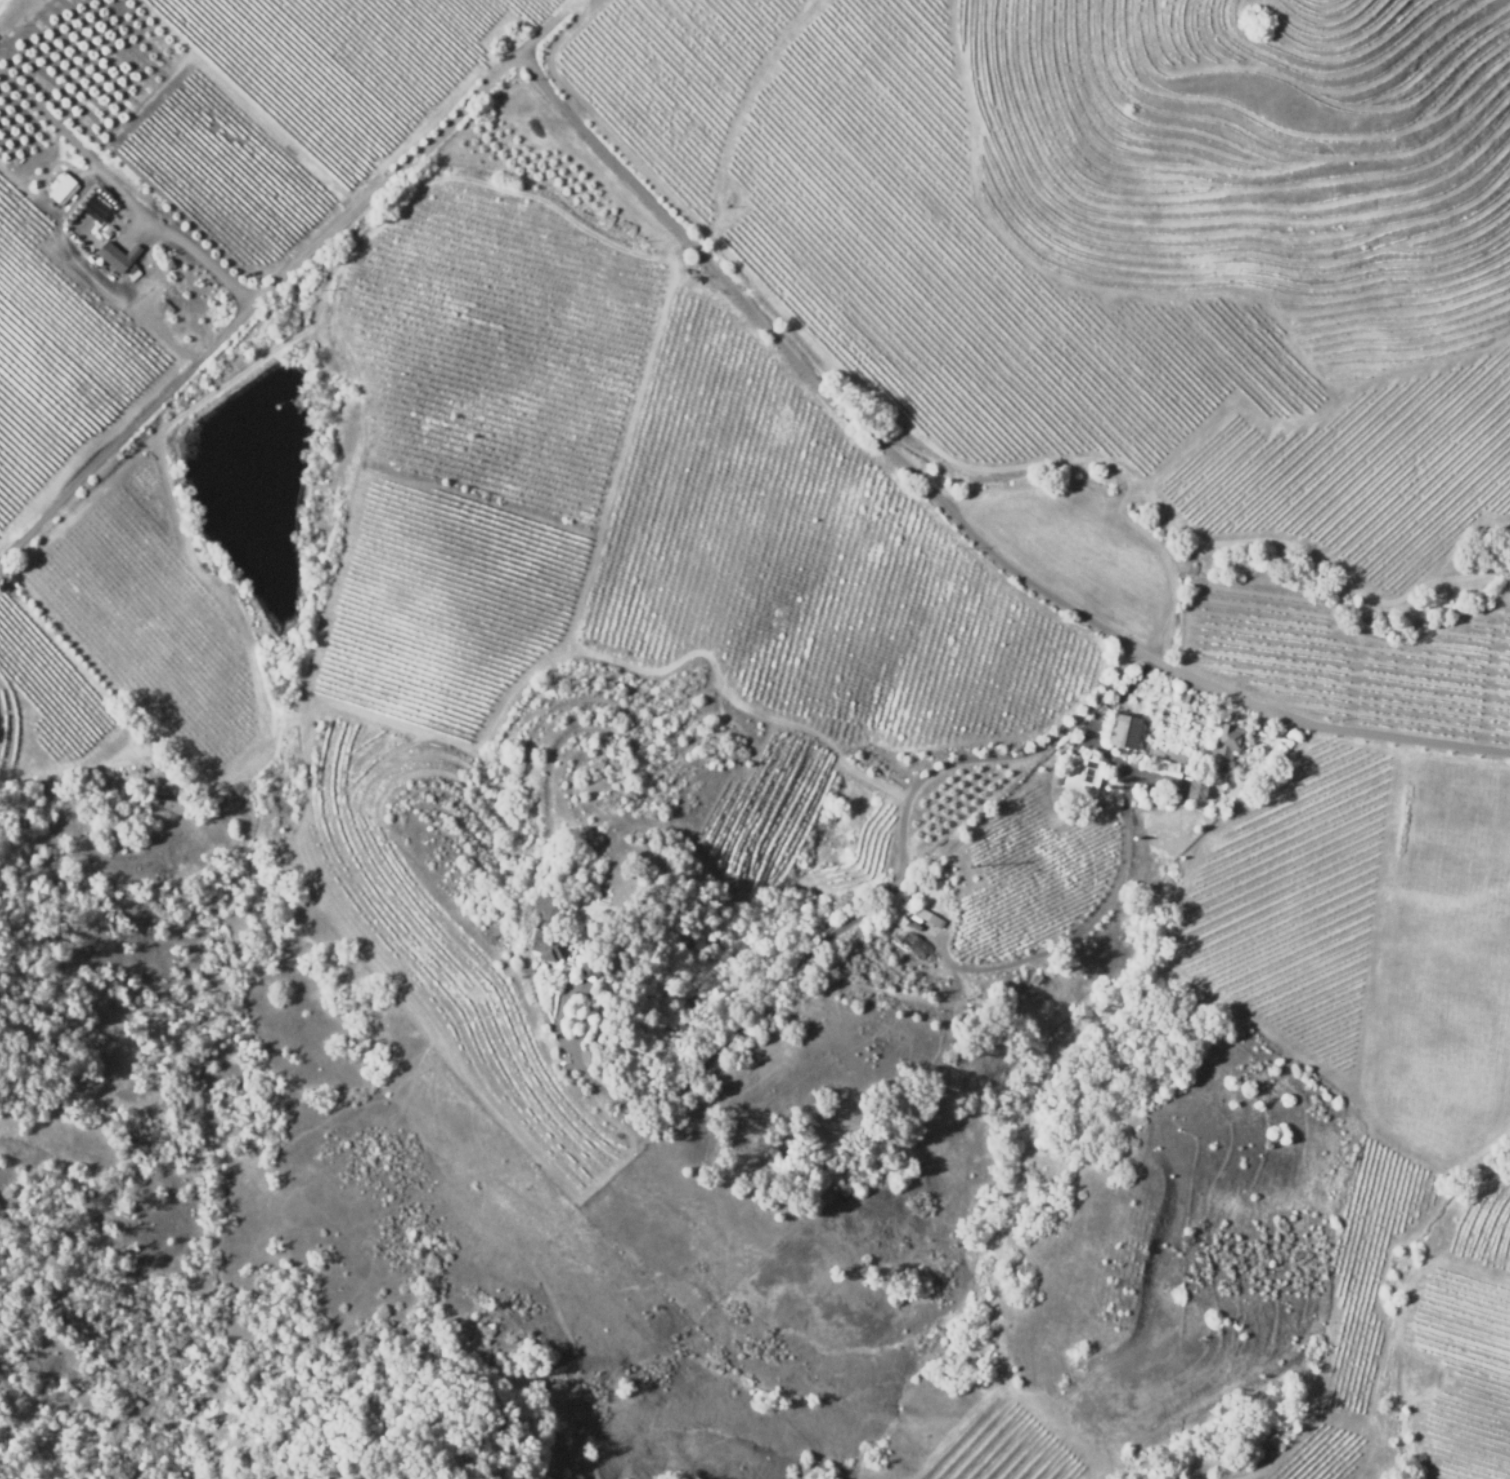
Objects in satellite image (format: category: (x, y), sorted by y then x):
building: (59, 188)
building: (99, 189)
building: (76, 204)
road: (699, 251)
building: (115, 258)
building: (131, 270)
building: (1185, 699)
building: (1122, 731)
building: (1226, 748)
building: (1167, 766)
building: (1081, 774)
building: (1187, 790)
building: (1197, 790)
building: (163, 797)
building: (528, 910)
building: (927, 916)
building: (546, 926)
building: (529, 948)
building: (585, 968)
building: (1036, 980)

